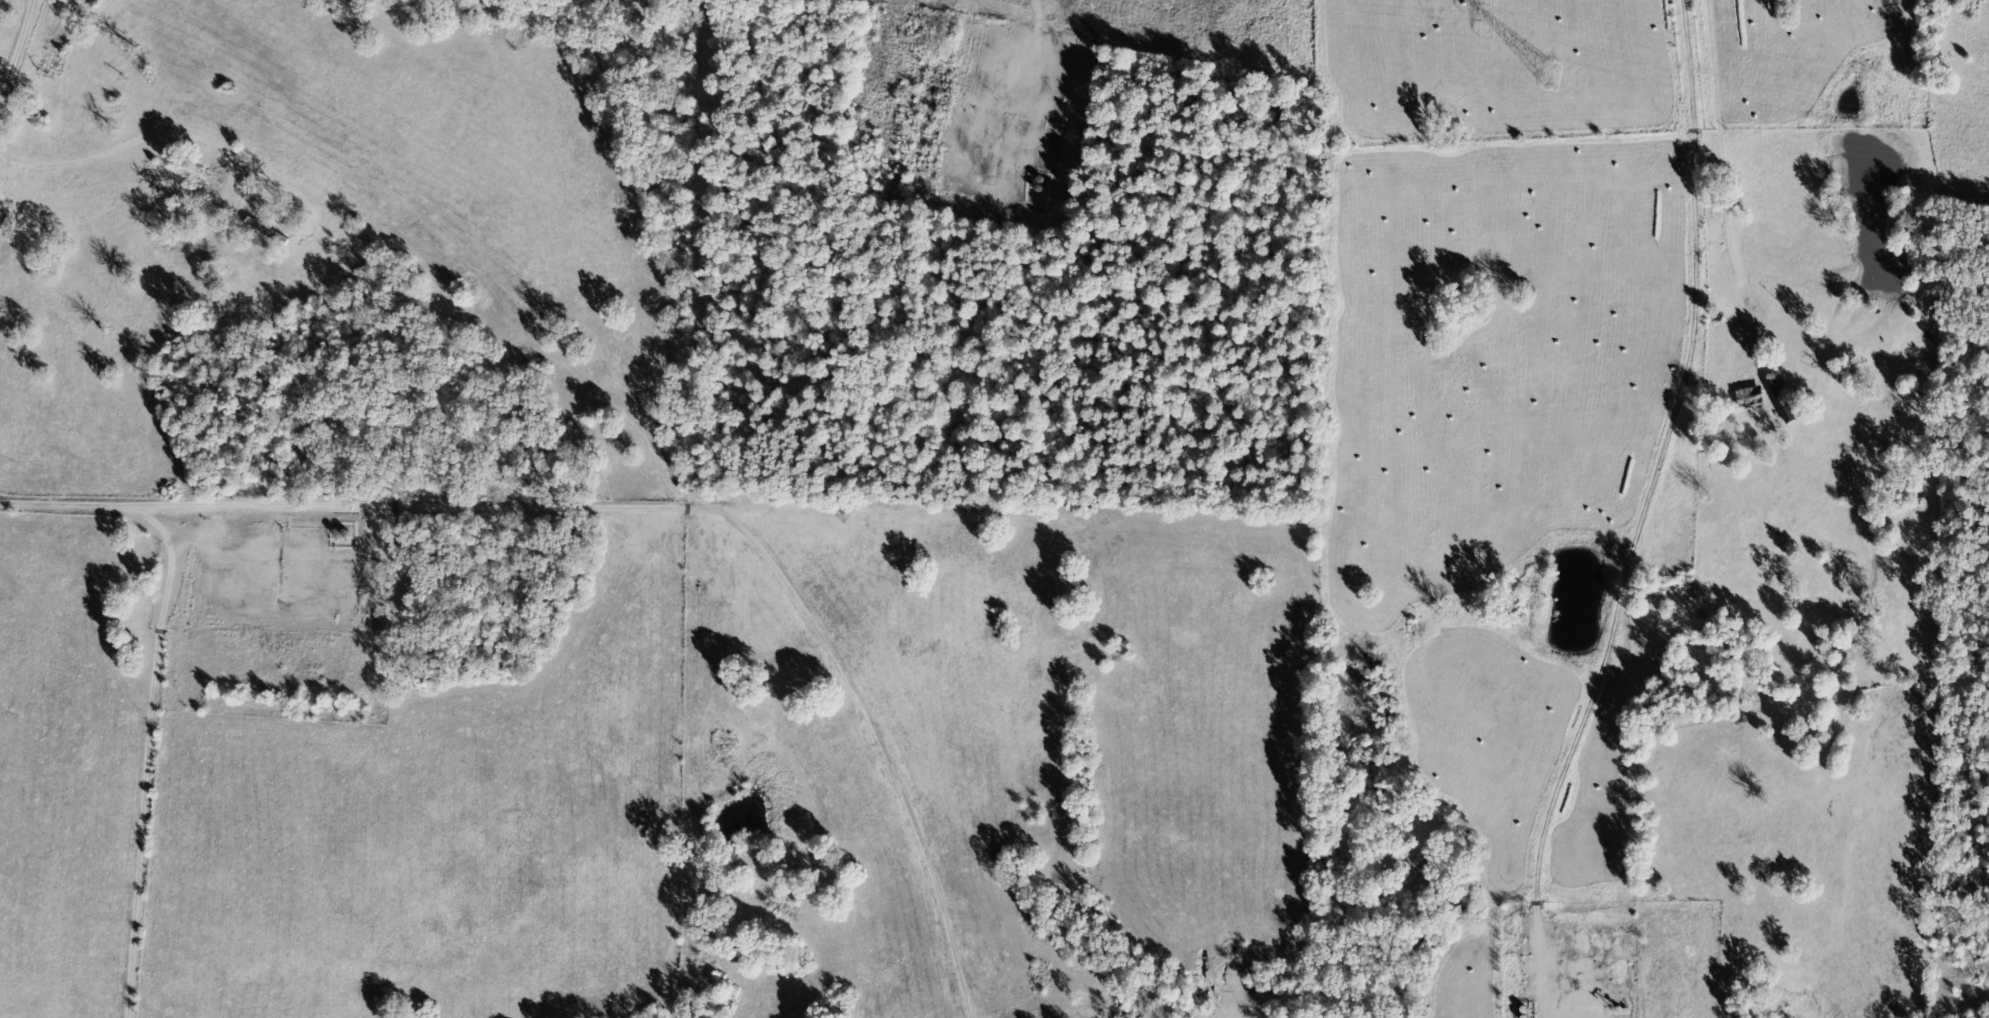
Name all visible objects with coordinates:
power tower: (1572, 78)
road: (1953, 247)
building: (1750, 397)
road: (1835, 503)

